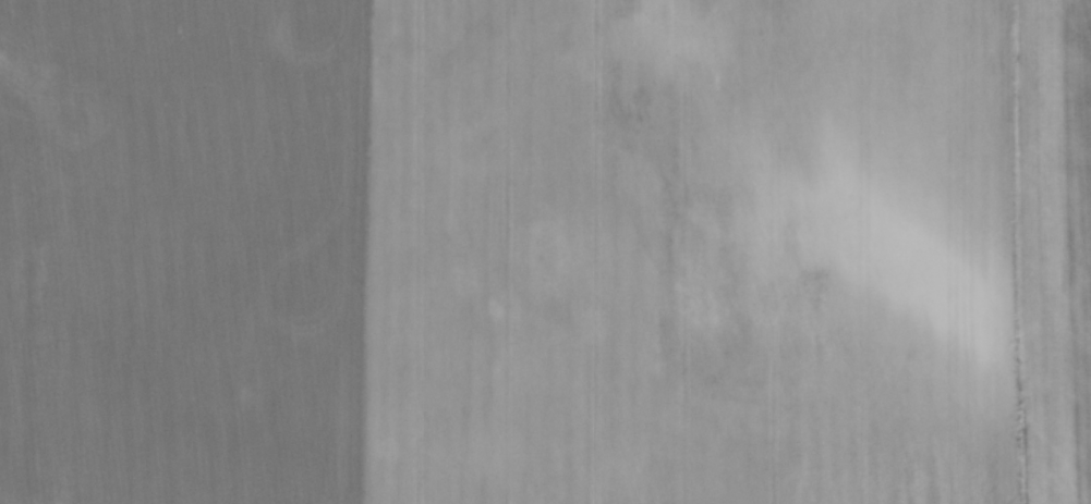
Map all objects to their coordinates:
crop: (545, 251)

